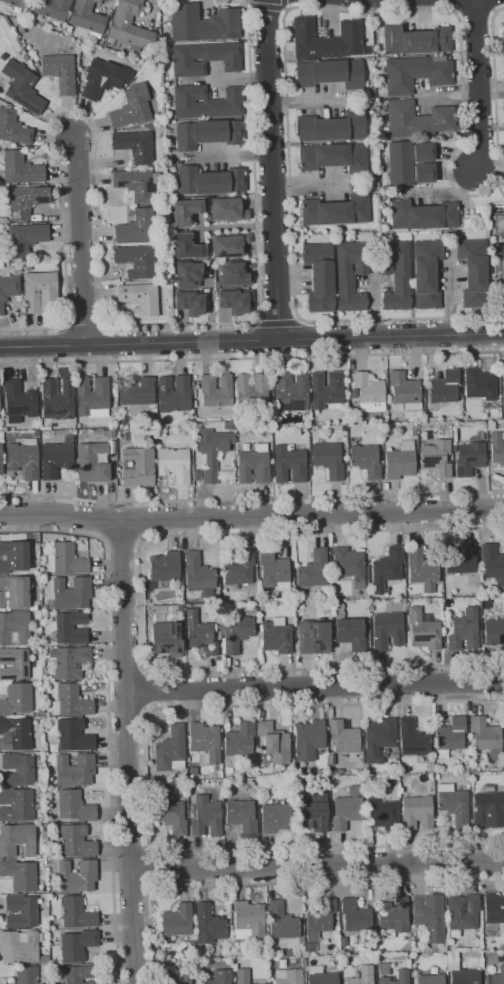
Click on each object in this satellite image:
road: (246, 2)
building: (16, 3)
road: (264, 5)
road: (282, 5)
road: (474, 8)
building: (50, 9)
road: (493, 9)
road: (455, 10)
building: (88, 17)
building: (203, 23)
building: (130, 26)
building: (69, 29)
building: (502, 34)
building: (325, 39)
building: (415, 39)
building: (205, 58)
building: (60, 72)
building: (329, 73)
building: (414, 73)
building: (104, 78)
building: (22, 87)
road: (482, 88)
building: (207, 102)
building: (132, 107)
building: (417, 119)
building: (13, 127)
building: (331, 127)
building: (209, 133)
road: (464, 134)
building: (135, 145)
building: (332, 156)
building: (410, 162)
building: (21, 168)
road: (274, 169)
building: (210, 181)
building: (137, 183)
building: (26, 201)
building: (226, 209)
building: (335, 210)
building: (184, 211)
building: (421, 215)
building: (3, 220)
building: (497, 220)
building: (137, 226)
building: (24, 238)
road: (82, 240)
building: (227, 245)
building: (186, 246)
building: (137, 260)
road: (292, 267)
building: (472, 270)
building: (425, 273)
building: (187, 274)
building: (233, 274)
building: (349, 274)
building: (395, 274)
building: (318, 276)
building: (500, 276)
building: (8, 289)
building: (40, 292)
building: (140, 299)
building: (235, 300)
road: (447, 300)
building: (189, 302)
road: (374, 308)
road: (101, 310)
road: (276, 319)
road: (85, 325)
road: (393, 337)
road: (141, 343)
road: (252, 356)
building: (480, 384)
building: (444, 387)
building: (216, 390)
building: (327, 390)
building: (405, 390)
building: (138, 391)
building: (292, 391)
building: (370, 392)
building: (503, 392)
building: (354, 393)
building: (174, 394)
building: (253, 394)
building: (93, 397)
building: (57, 399)
building: (19, 401)
building: (229, 424)
building: (100, 431)
building: (36, 433)
building: (159, 439)
building: (497, 449)
building: (213, 451)
building: (437, 457)
building: (57, 458)
building: (470, 458)
building: (1, 459)
building: (24, 459)
building: (329, 460)
building: (367, 460)
building: (401, 461)
building: (92, 462)
building: (175, 464)
building: (290, 464)
building: (254, 465)
building: (139, 468)
building: (197, 475)
road: (251, 499)
road: (251, 516)
road: (123, 540)
building: (13, 557)
building: (461, 559)
building: (66, 560)
building: (493, 563)
building: (350, 565)
building: (165, 567)
building: (273, 568)
building: (387, 568)
building: (240, 569)
building: (423, 569)
building: (314, 570)
building: (198, 575)
building: (14, 592)
building: (71, 593)
road: (141, 602)
building: (485, 603)
building: (339, 610)
building: (72, 627)
building: (15, 628)
building: (424, 630)
building: (465, 630)
building: (387, 631)
building: (494, 632)
building: (200, 633)
building: (237, 633)
building: (353, 633)
building: (277, 636)
building: (167, 637)
building: (314, 637)
building: (71, 662)
building: (14, 663)
road: (315, 685)
building: (45, 690)
building: (17, 699)
building: (71, 701)
road: (108, 709)
building: (17, 733)
building: (485, 734)
building: (74, 735)
building: (450, 736)
building: (346, 737)
building: (379, 738)
building: (413, 739)
building: (240, 740)
building: (309, 740)
building: (205, 742)
building: (275, 742)
building: (171, 750)
road: (128, 752)
building: (331, 759)
building: (466, 768)
building: (404, 769)
building: (18, 770)
building: (75, 770)
building: (394, 770)
building: (333, 771)
building: (340, 771)
building: (360, 772)
building: (437, 776)
road: (147, 778)
building: (327, 785)
building: (202, 790)
building: (43, 794)
building: (454, 804)
building: (16, 805)
building: (75, 806)
building: (487, 806)
building: (191, 808)
building: (347, 809)
building: (169, 810)
building: (313, 812)
building: (418, 812)
building: (382, 814)
building: (192, 815)
building: (242, 815)
building: (207, 816)
building: (276, 817)
building: (17, 840)
building: (77, 842)
road: (131, 849)
road: (317, 864)
road: (150, 868)
building: (20, 875)
building: (78, 876)
road: (279, 884)
road: (132, 888)
building: (54, 898)
building: (493, 908)
building: (21, 911)
building: (462, 913)
building: (76, 914)
building: (429, 915)
building: (356, 916)
building: (393, 918)
building: (320, 919)
building: (178, 920)
building: (249, 920)
building: (282, 921)
building: (209, 924)
building: (77, 945)
building: (19, 947)
building: (310, 947)
building: (239, 954)
building: (44, 959)
building: (381, 973)
building: (26, 974)
building: (462, 974)
building: (78, 975)
building: (291, 975)
building: (243, 976)
building: (321, 976)
building: (363, 976)
building: (498, 976)
building: (178, 977)
building: (220, 977)
building: (431, 979)
building: (261, 983)

